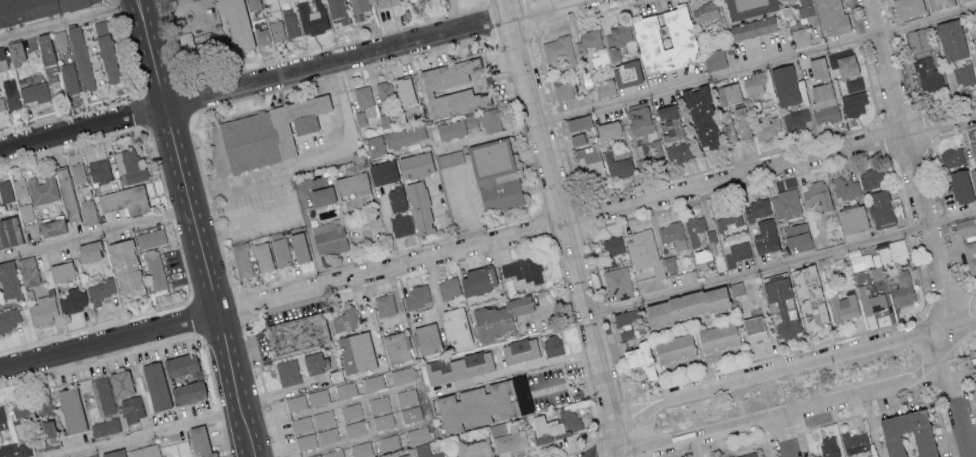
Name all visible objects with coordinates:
building: (963, 0)
road: (109, 1)
building: (386, 3)
building: (255, 4)
building: (941, 4)
building: (805, 7)
building: (748, 8)
building: (907, 8)
road: (111, 9)
building: (359, 9)
building: (337, 10)
building: (40, 11)
building: (705, 12)
building: (830, 17)
road: (75, 19)
building: (316, 21)
building: (290, 22)
building: (236, 24)
building: (752, 28)
building: (277, 30)
building: (263, 35)
building: (801, 37)
building: (664, 39)
building: (59, 40)
building: (919, 40)
building: (951, 40)
building: (588, 43)
building: (198, 44)
building: (16, 49)
building: (106, 51)
building: (559, 51)
building: (81, 58)
road: (125, 58)
building: (2, 59)
building: (715, 59)
building: (842, 65)
road: (757, 67)
building: (964, 74)
road: (295, 75)
building: (928, 75)
building: (69, 78)
building: (620, 79)
building: (753, 84)
building: (438, 85)
building: (784, 85)
building: (406, 89)
building: (385, 91)
building: (564, 91)
building: (821, 91)
building: (34, 92)
building: (11, 94)
building: (727, 94)
building: (364, 96)
road: (137, 97)
building: (855, 98)
building: (1, 105)
road: (140, 113)
road: (64, 114)
building: (701, 118)
building: (796, 119)
building: (490, 120)
building: (669, 122)
building: (740, 122)
building: (577, 123)
building: (767, 125)
building: (727, 126)
building: (455, 127)
building: (608, 130)
building: (260, 134)
building: (405, 135)
building: (576, 139)
building: (376, 145)
road: (71, 146)
building: (973, 150)
building: (679, 152)
building: (450, 157)
building: (952, 158)
building: (590, 162)
road: (158, 164)
building: (415, 164)
building: (130, 166)
building: (99, 169)
road: (282, 169)
building: (78, 172)
building: (383, 172)
building: (495, 175)
building: (871, 177)
building: (974, 180)
building: (19, 184)
building: (349, 184)
building: (960, 186)
building: (844, 187)
building: (43, 188)
building: (5, 190)
road: (239, 193)
building: (66, 194)
building: (322, 194)
building: (396, 198)
building: (123, 199)
building: (357, 201)
building: (786, 203)
building: (419, 206)
road: (469, 207)
building: (757, 208)
building: (879, 208)
building: (89, 211)
road: (171, 213)
building: (851, 218)
building: (729, 219)
building: (401, 225)
building: (965, 225)
building: (51, 226)
road: (197, 227)
road: (927, 227)
road: (566, 228)
building: (694, 229)
building: (8, 231)
road: (96, 234)
building: (673, 234)
building: (765, 235)
building: (797, 235)
building: (329, 236)
building: (151, 238)
road: (488, 245)
building: (613, 245)
building: (299, 246)
building: (643, 248)
building: (87, 250)
building: (282, 251)
building: (737, 253)
building: (894, 253)
building: (263, 256)
building: (970, 256)
road: (183, 259)
building: (242, 259)
building: (856, 259)
road: (783, 265)
building: (125, 266)
building: (523, 268)
building: (155, 269)
building: (28, 270)
building: (61, 270)
building: (8, 280)
building: (477, 280)
building: (618, 282)
building: (448, 287)
building: (736, 288)
building: (902, 289)
building: (100, 290)
building: (543, 296)
building: (416, 297)
building: (809, 298)
building: (74, 299)
building: (873, 302)
building: (780, 303)
building: (385, 304)
building: (684, 304)
building: (843, 306)
building: (44, 309)
road: (195, 316)
building: (498, 316)
building: (625, 316)
building: (10, 317)
building: (345, 319)
road: (96, 325)
building: (455, 326)
building: (753, 327)
building: (296, 332)
building: (626, 333)
building: (715, 336)
building: (425, 338)
building: (551, 345)
building: (974, 345)
building: (395, 347)
building: (672, 347)
building: (519, 349)
building: (355, 351)
building: (639, 358)
road: (99, 359)
building: (315, 362)
road: (797, 364)
building: (458, 366)
road: (210, 370)
building: (287, 371)
building: (399, 375)
building: (197, 378)
building: (120, 382)
building: (373, 382)
building: (155, 384)
road: (569, 386)
building: (346, 389)
road: (283, 392)
building: (104, 394)
building: (318, 396)
building: (407, 396)
building: (295, 402)
building: (379, 404)
building: (31, 405)
building: (132, 408)
road: (811, 408)
building: (70, 409)
building: (351, 410)
road: (220, 414)
building: (411, 414)
building: (324, 418)
building: (2, 419)
building: (383, 421)
building: (301, 424)
building: (556, 425)
road: (872, 425)
building: (105, 426)
building: (356, 428)
road: (972, 432)
building: (47, 433)
road: (151, 433)
building: (419, 434)
building: (907, 434)
building: (329, 435)
road: (784, 437)
road: (225, 439)
building: (511, 439)
building: (305, 441)
building: (854, 441)
building: (201, 442)
building: (389, 442)
building: (828, 446)
road: (696, 447)
building: (474, 448)
building: (16, 449)
building: (361, 449)
building: (145, 451)
building: (423, 452)
building: (113, 453)
building: (330, 453)
building: (747, 454)
road: (81, 455)

